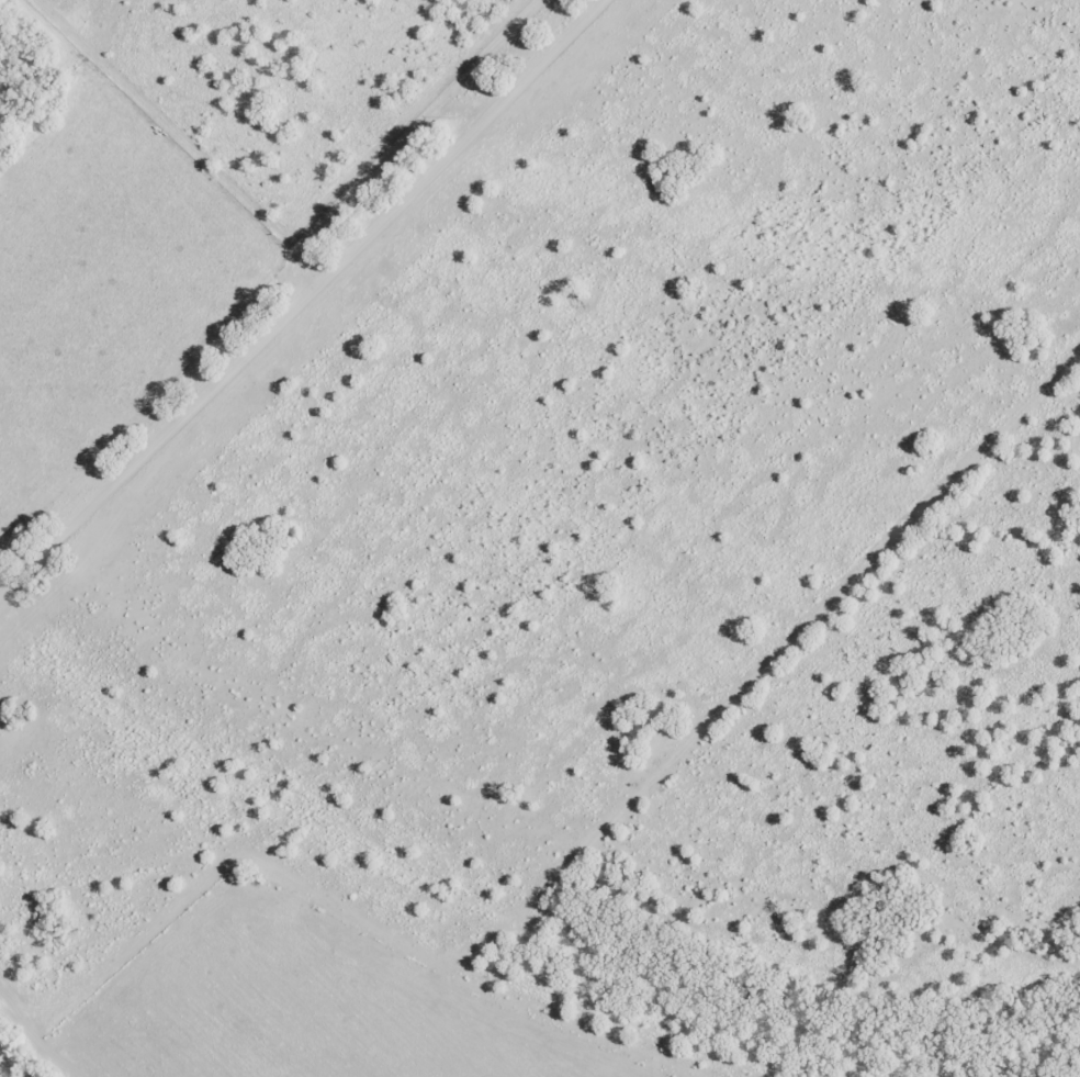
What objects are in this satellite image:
road: (299, 305)

